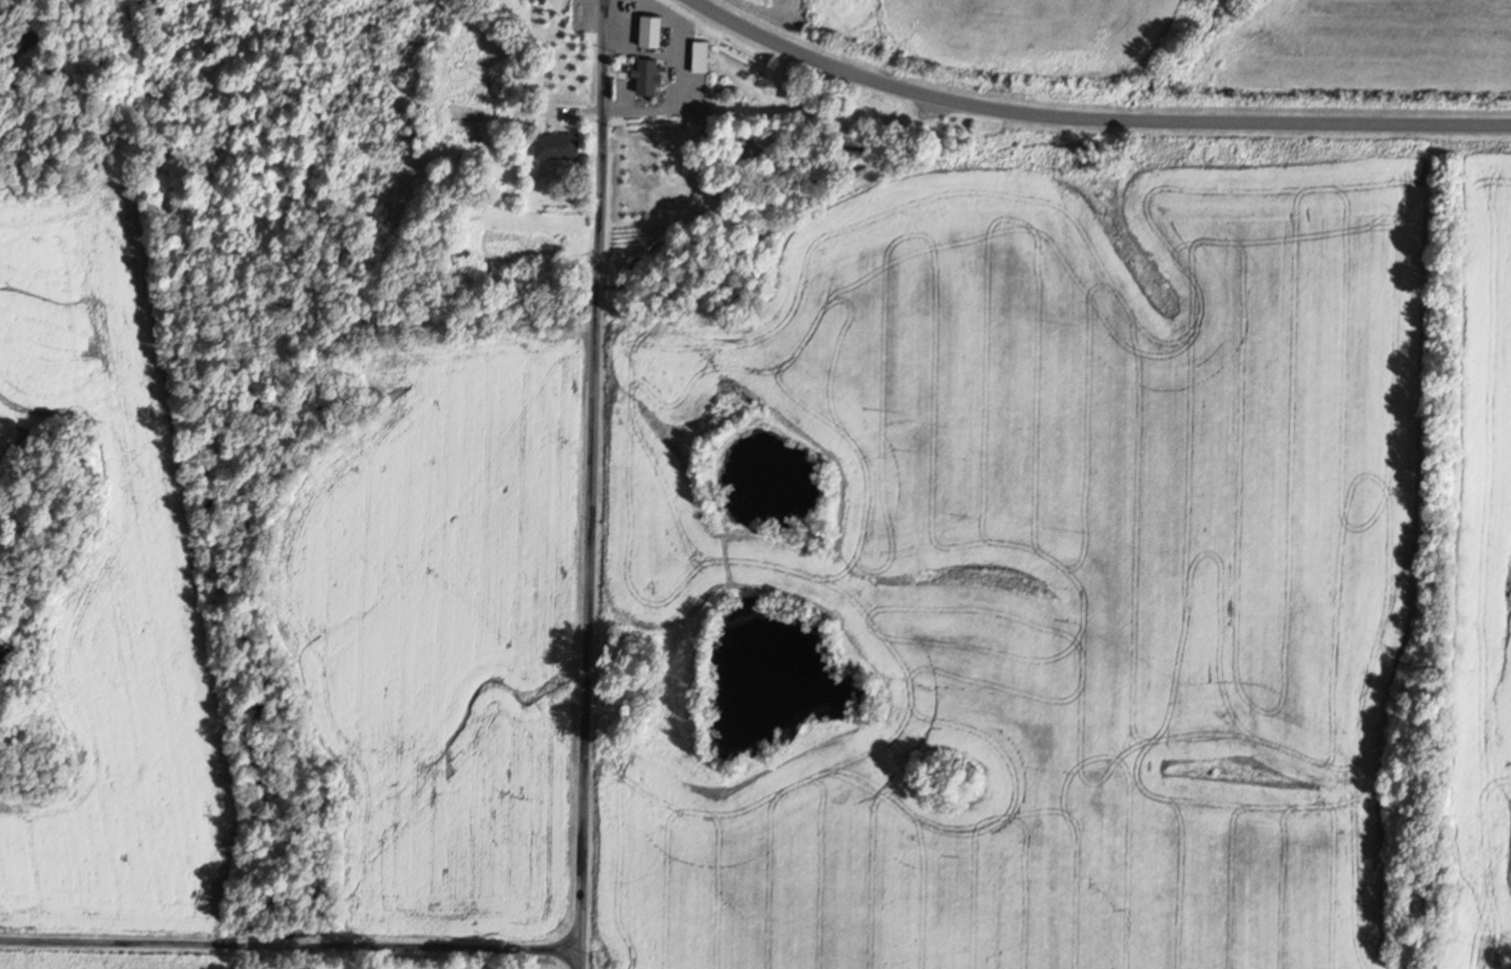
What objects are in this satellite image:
building: (656, 31)
building: (704, 57)
building: (653, 76)
road: (774, 104)
road: (1092, 118)
building: (561, 146)
road: (592, 484)
road: (291, 942)

